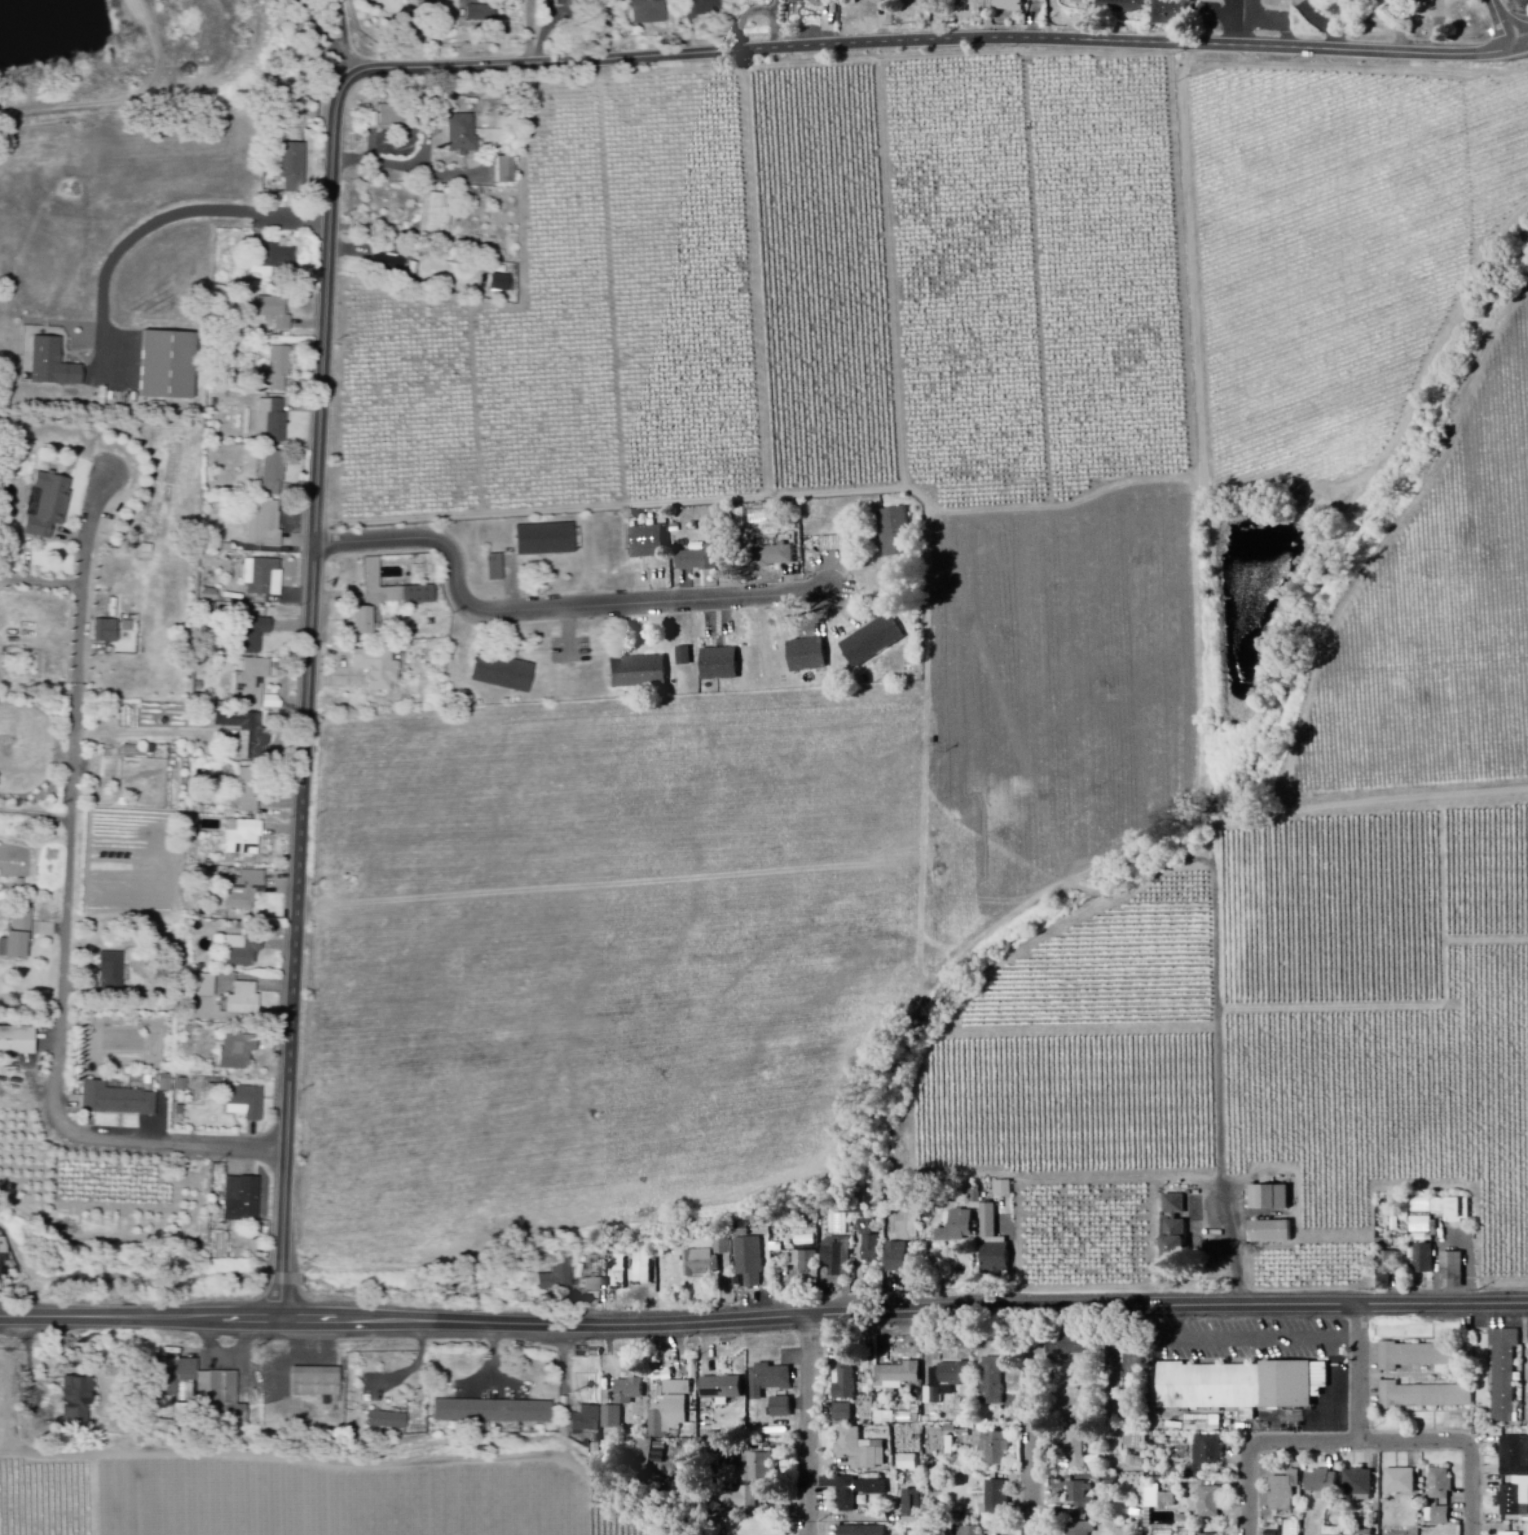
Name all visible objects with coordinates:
building: (428, 1)
building: (1037, 1)
building: (800, 2)
building: (830, 2)
building: (569, 3)
building: (1124, 7)
building: (702, 9)
building: (647, 13)
building: (1174, 13)
building: (482, 15)
road: (1503, 27)
road: (608, 33)
road: (342, 35)
road: (326, 41)
road: (345, 87)
road: (122, 102)
building: (394, 116)
building: (463, 136)
road: (406, 167)
building: (295, 170)
building: (506, 172)
building: (435, 215)
road: (160, 219)
building: (276, 259)
building: (388, 265)
building: (501, 284)
building: (275, 313)
building: (53, 366)
building: (171, 368)
building: (278, 370)
building: (272, 422)
building: (274, 474)
building: (48, 505)
building: (264, 525)
building: (899, 533)
building: (547, 540)
building: (648, 542)
building: (701, 560)
building: (495, 568)
building: (263, 577)
building: (383, 599)
road: (551, 610)
building: (107, 632)
building: (254, 635)
building: (875, 641)
building: (811, 655)
building: (686, 657)
building: (723, 665)
building: (378, 669)
building: (640, 673)
building: (505, 674)
building: (253, 683)
building: (248, 734)
building: (250, 791)
building: (244, 838)
building: (244, 891)
road: (68, 923)
building: (20, 936)
building: (242, 952)
building: (112, 971)
building: (206, 987)
building: (244, 1001)
building: (17, 1042)
building: (238, 1052)
building: (165, 1084)
building: (117, 1102)
building: (246, 1104)
building: (1005, 1189)
building: (1273, 1199)
building: (242, 1200)
building: (1444, 1207)
building: (1461, 1210)
building: (961, 1228)
building: (1179, 1231)
building: (1274, 1233)
building: (797, 1238)
building: (872, 1244)
road: (1232, 1244)
building: (996, 1245)
building: (724, 1247)
building: (3, 1254)
building: (839, 1257)
building: (900, 1259)
building: (1426, 1260)
building: (751, 1262)
building: (807, 1262)
building: (703, 1264)
building: (644, 1267)
building: (1388, 1271)
building: (1455, 1272)
building: (557, 1278)
road: (283, 1279)
building: (593, 1286)
road: (283, 1300)
road: (283, 1321)
road: (764, 1329)
road: (1292, 1338)
road: (1348, 1339)
building: (1070, 1346)
parking lot: (1270, 1346)
building: (1425, 1356)
building: (1504, 1375)
building: (847, 1376)
road: (1363, 1376)
building: (899, 1377)
building: (1135, 1377)
building: (188, 1380)
building: (772, 1381)
building: (995, 1381)
building: (317, 1384)
building: (1244, 1388)
building: (725, 1389)
building: (631, 1392)
building: (222, 1394)
building: (1427, 1397)
building: (78, 1403)
building: (785, 1409)
building: (672, 1410)
building: (494, 1413)
building: (846, 1414)
building: (614, 1418)
building: (588, 1421)
building: (388, 1422)
road: (1036, 1423)
road: (812, 1432)
road: (1363, 1446)
building: (997, 1449)
building: (863, 1450)
building: (1079, 1450)
building: (1210, 1452)
building: (659, 1455)
building: (1513, 1457)
building: (911, 1464)
building: (762, 1469)
building: (1360, 1483)
building: (1402, 1483)
building: (1439, 1485)
building: (855, 1491)
building: (1286, 1492)
building: (1083, 1496)
building: (999, 1498)
building: (749, 1499)
building: (1159, 1499)
building: (1512, 1501)
building: (1210, 1504)
building: (915, 1508)
building: (1440, 1517)
building: (1083, 1529)
building: (970, 1531)
building: (912, 1533)
building: (1508, 1534)

